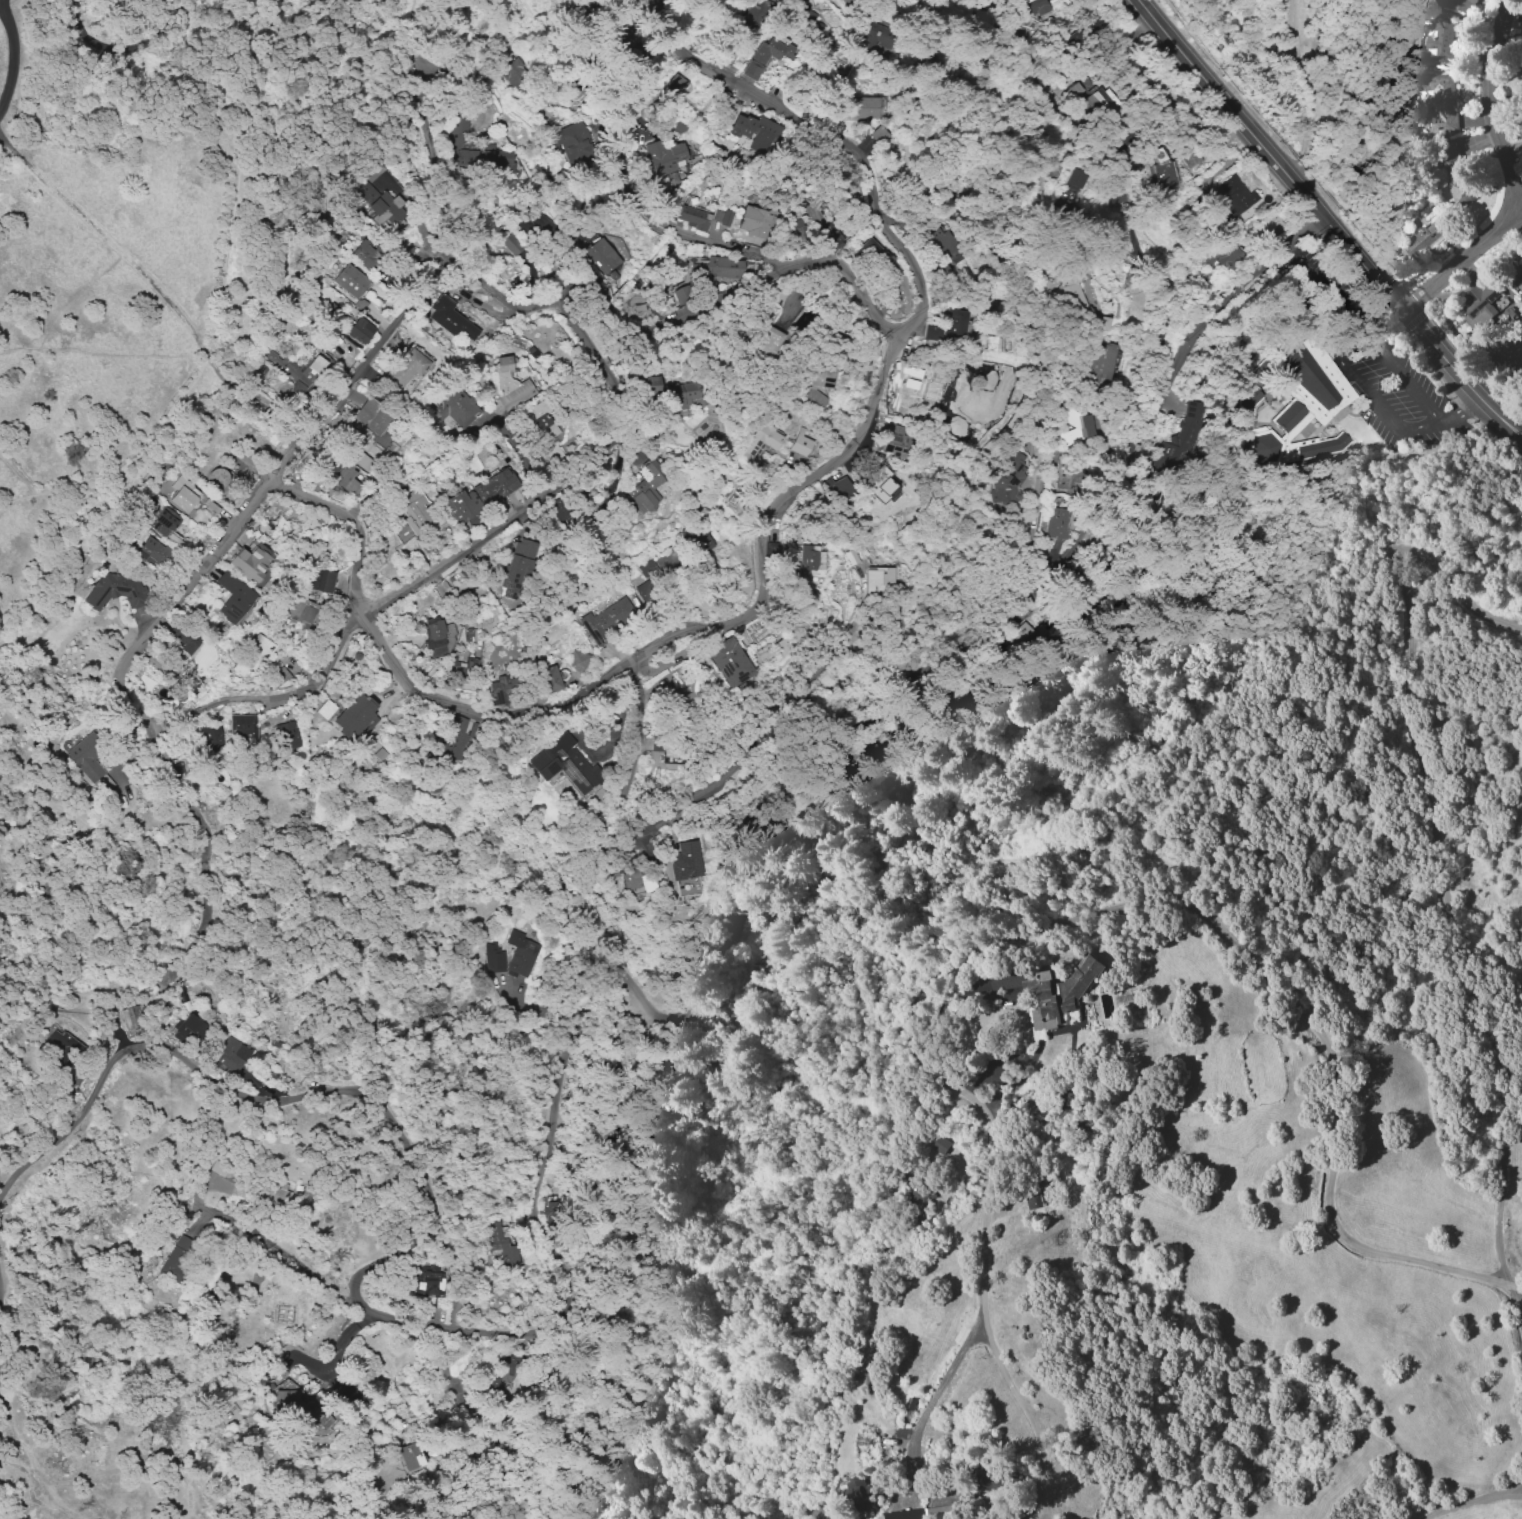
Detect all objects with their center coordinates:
building: (1455, 4)
building: (1029, 7)
building: (751, 17)
building: (873, 36)
building: (1439, 44)
road: (124, 50)
road: (12, 55)
building: (766, 55)
building: (512, 72)
building: (672, 87)
building: (1440, 99)
building: (1091, 102)
building: (864, 106)
building: (755, 129)
road: (846, 137)
building: (572, 140)
building: (475, 151)
building: (662, 156)
building: (1190, 157)
road: (619, 163)
building: (1051, 167)
building: (1457, 172)
building: (1161, 174)
building: (1077, 177)
road: (1512, 180)
building: (367, 191)
building: (1235, 196)
road: (1521, 207)
building: (385, 209)
building: (721, 216)
building: (692, 217)
building: (754, 221)
road: (1325, 222)
building: (535, 224)
building: (794, 226)
road: (104, 238)
building: (833, 239)
building: (1421, 240)
building: (511, 244)
building: (944, 247)
building: (366, 254)
building: (1221, 254)
building: (602, 256)
road: (451, 263)
building: (721, 267)
building: (1516, 276)
road: (1161, 277)
building: (351, 280)
road: (223, 281)
road: (1318, 281)
building: (681, 295)
building: (1478, 302)
road: (486, 311)
road: (1342, 315)
building: (450, 318)
building: (952, 324)
building: (359, 330)
building: (930, 331)
building: (767, 341)
road: (1340, 350)
building: (1101, 363)
building: (406, 367)
building: (255, 370)
building: (297, 371)
building: (818, 379)
building: (510, 382)
building: (893, 383)
building: (651, 385)
building: (683, 394)
building: (975, 403)
building: (455, 406)
building: (1301, 407)
road: (1457, 412)
building: (371, 415)
building: (1074, 424)
building: (540, 429)
building: (762, 438)
building: (893, 440)
building: (1179, 440)
building: (800, 442)
road: (521, 454)
building: (361, 460)
building: (1065, 476)
building: (216, 477)
building: (1009, 480)
building: (495, 486)
building: (647, 488)
building: (836, 488)
building: (180, 494)
building: (463, 505)
building: (409, 515)
building: (164, 521)
building: (1056, 523)
building: (699, 541)
building: (150, 551)
building: (251, 560)
building: (810, 562)
building: (518, 565)
road: (429, 571)
building: (320, 579)
building: (877, 579)
building: (648, 580)
building: (118, 589)
building: (233, 597)
building: (299, 610)
building: (605, 619)
building: (433, 631)
building: (183, 638)
building: (253, 654)
building: (578, 660)
building: (728, 661)
building: (463, 666)
road: (609, 674)
building: (550, 678)
building: (500, 689)
building: (325, 709)
building: (354, 717)
building: (243, 727)
building: (286, 734)
building: (212, 735)
building: (454, 738)
building: (90, 761)
building: (565, 763)
road: (692, 795)
building: (688, 858)
road: (758, 860)
building: (633, 878)
road: (1057, 934)
building: (520, 953)
building: (493, 957)
building: (1041, 989)
building: (134, 1018)
building: (187, 1027)
building: (61, 1044)
building: (230, 1054)
road: (269, 1098)
building: (940, 1144)
building: (1036, 1193)
building: (274, 1194)
road: (154, 1235)
crop: (1321, 1237)
building: (500, 1244)
building: (176, 1256)
building: (428, 1281)
road: (1514, 1306)
building: (508, 1376)
road: (929, 1404)
building: (301, 1408)
road: (24, 1434)
building: (411, 1456)
building: (989, 1477)
building: (855, 1491)
road: (1470, 1502)
building: (916, 1513)

